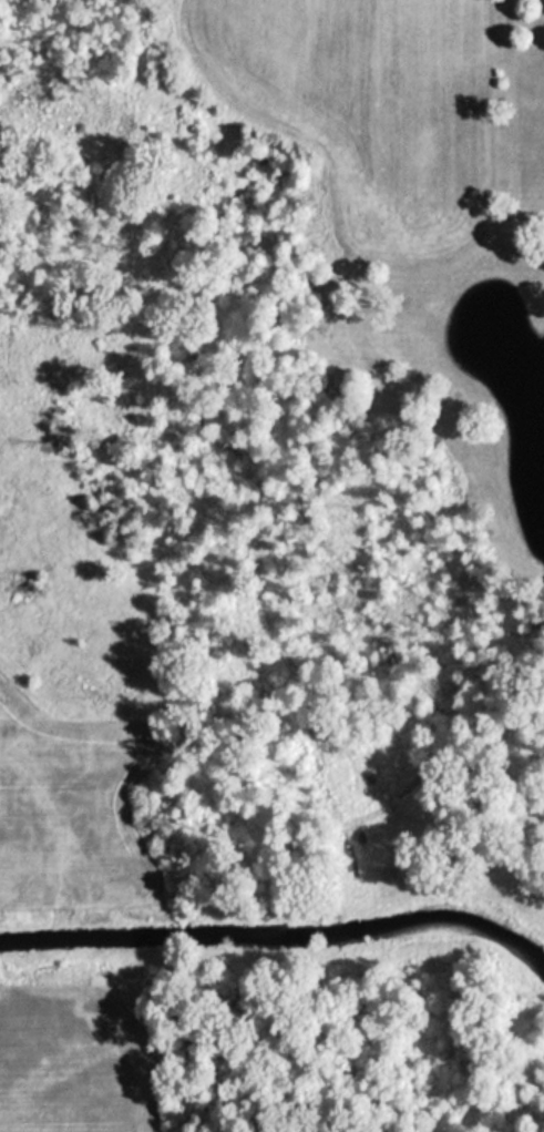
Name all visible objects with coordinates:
building: (543, 8)
river: (285, 934)

